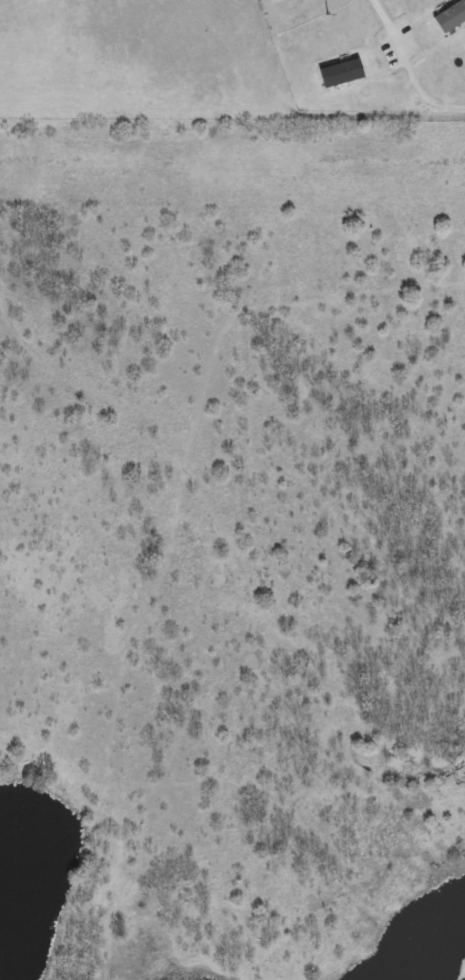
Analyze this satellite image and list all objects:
building: (452, 20)
road: (409, 65)
building: (343, 75)

